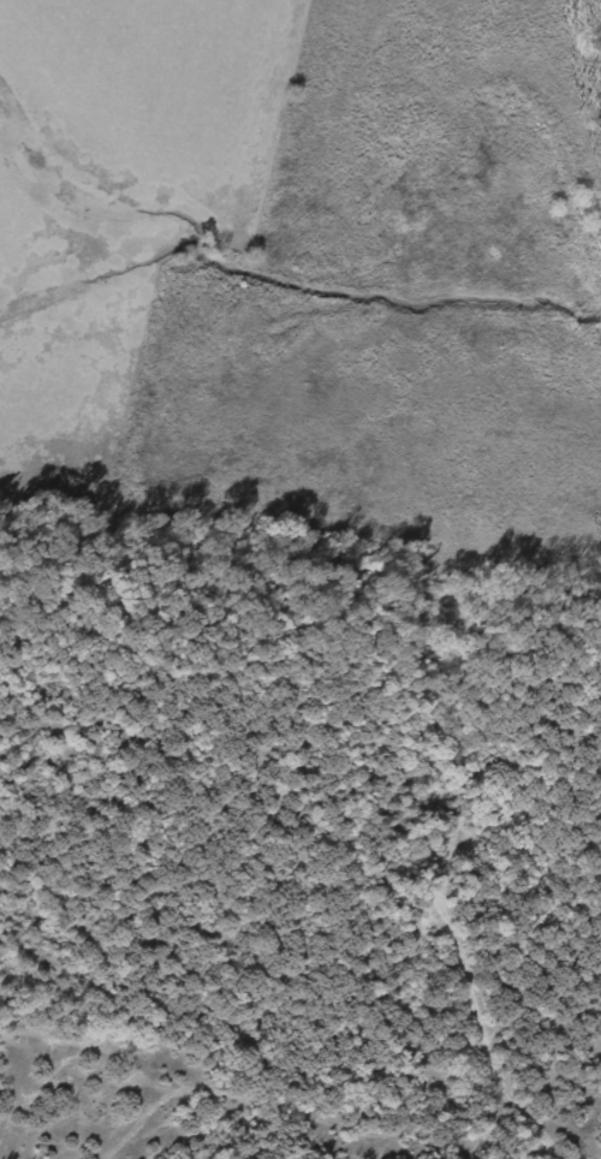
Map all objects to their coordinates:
road: (413, 1050)

